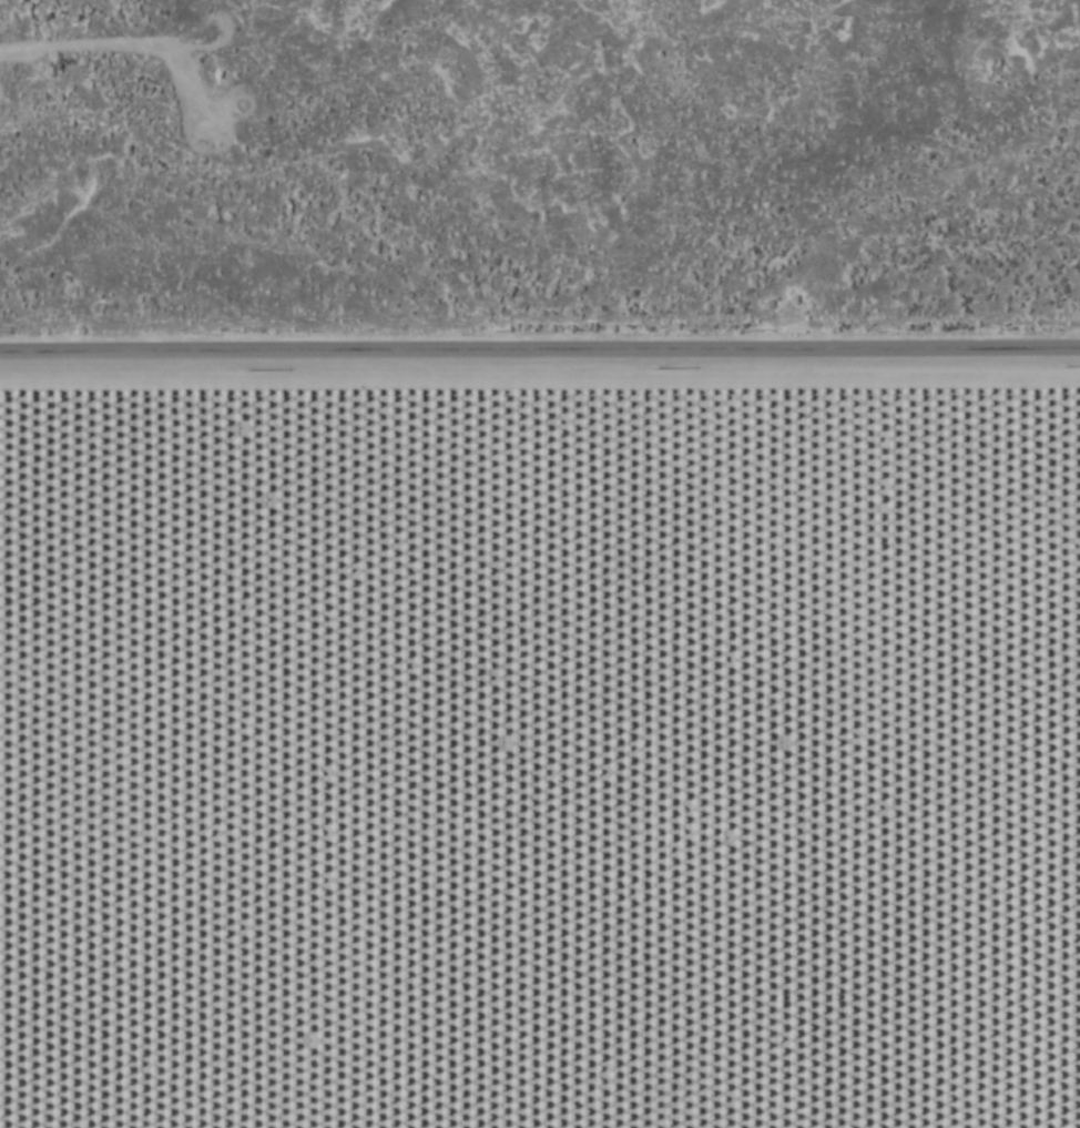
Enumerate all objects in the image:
road: (540, 346)

